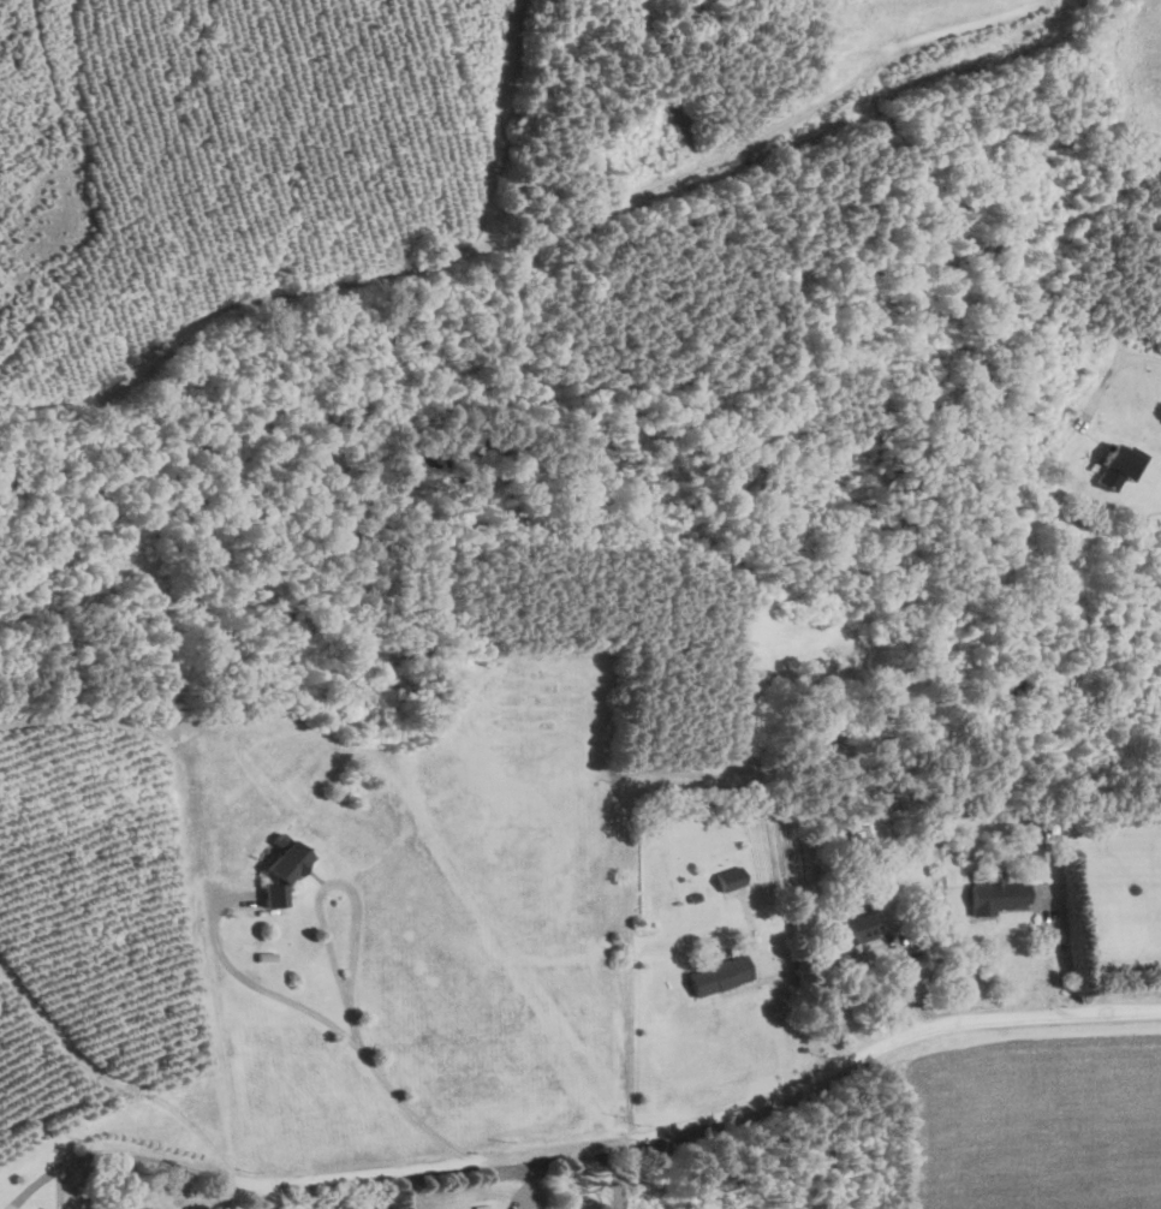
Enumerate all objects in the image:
road: (1153, 355)
building: (1113, 464)
building: (858, 826)
building: (280, 868)
building: (728, 883)
building: (994, 893)
road: (351, 904)
building: (852, 928)
building: (716, 975)
road: (273, 1006)
road: (773, 1022)
road: (398, 1107)
road: (720, 1113)
road: (132, 1162)
building: (481, 1207)
building: (147, 1208)

